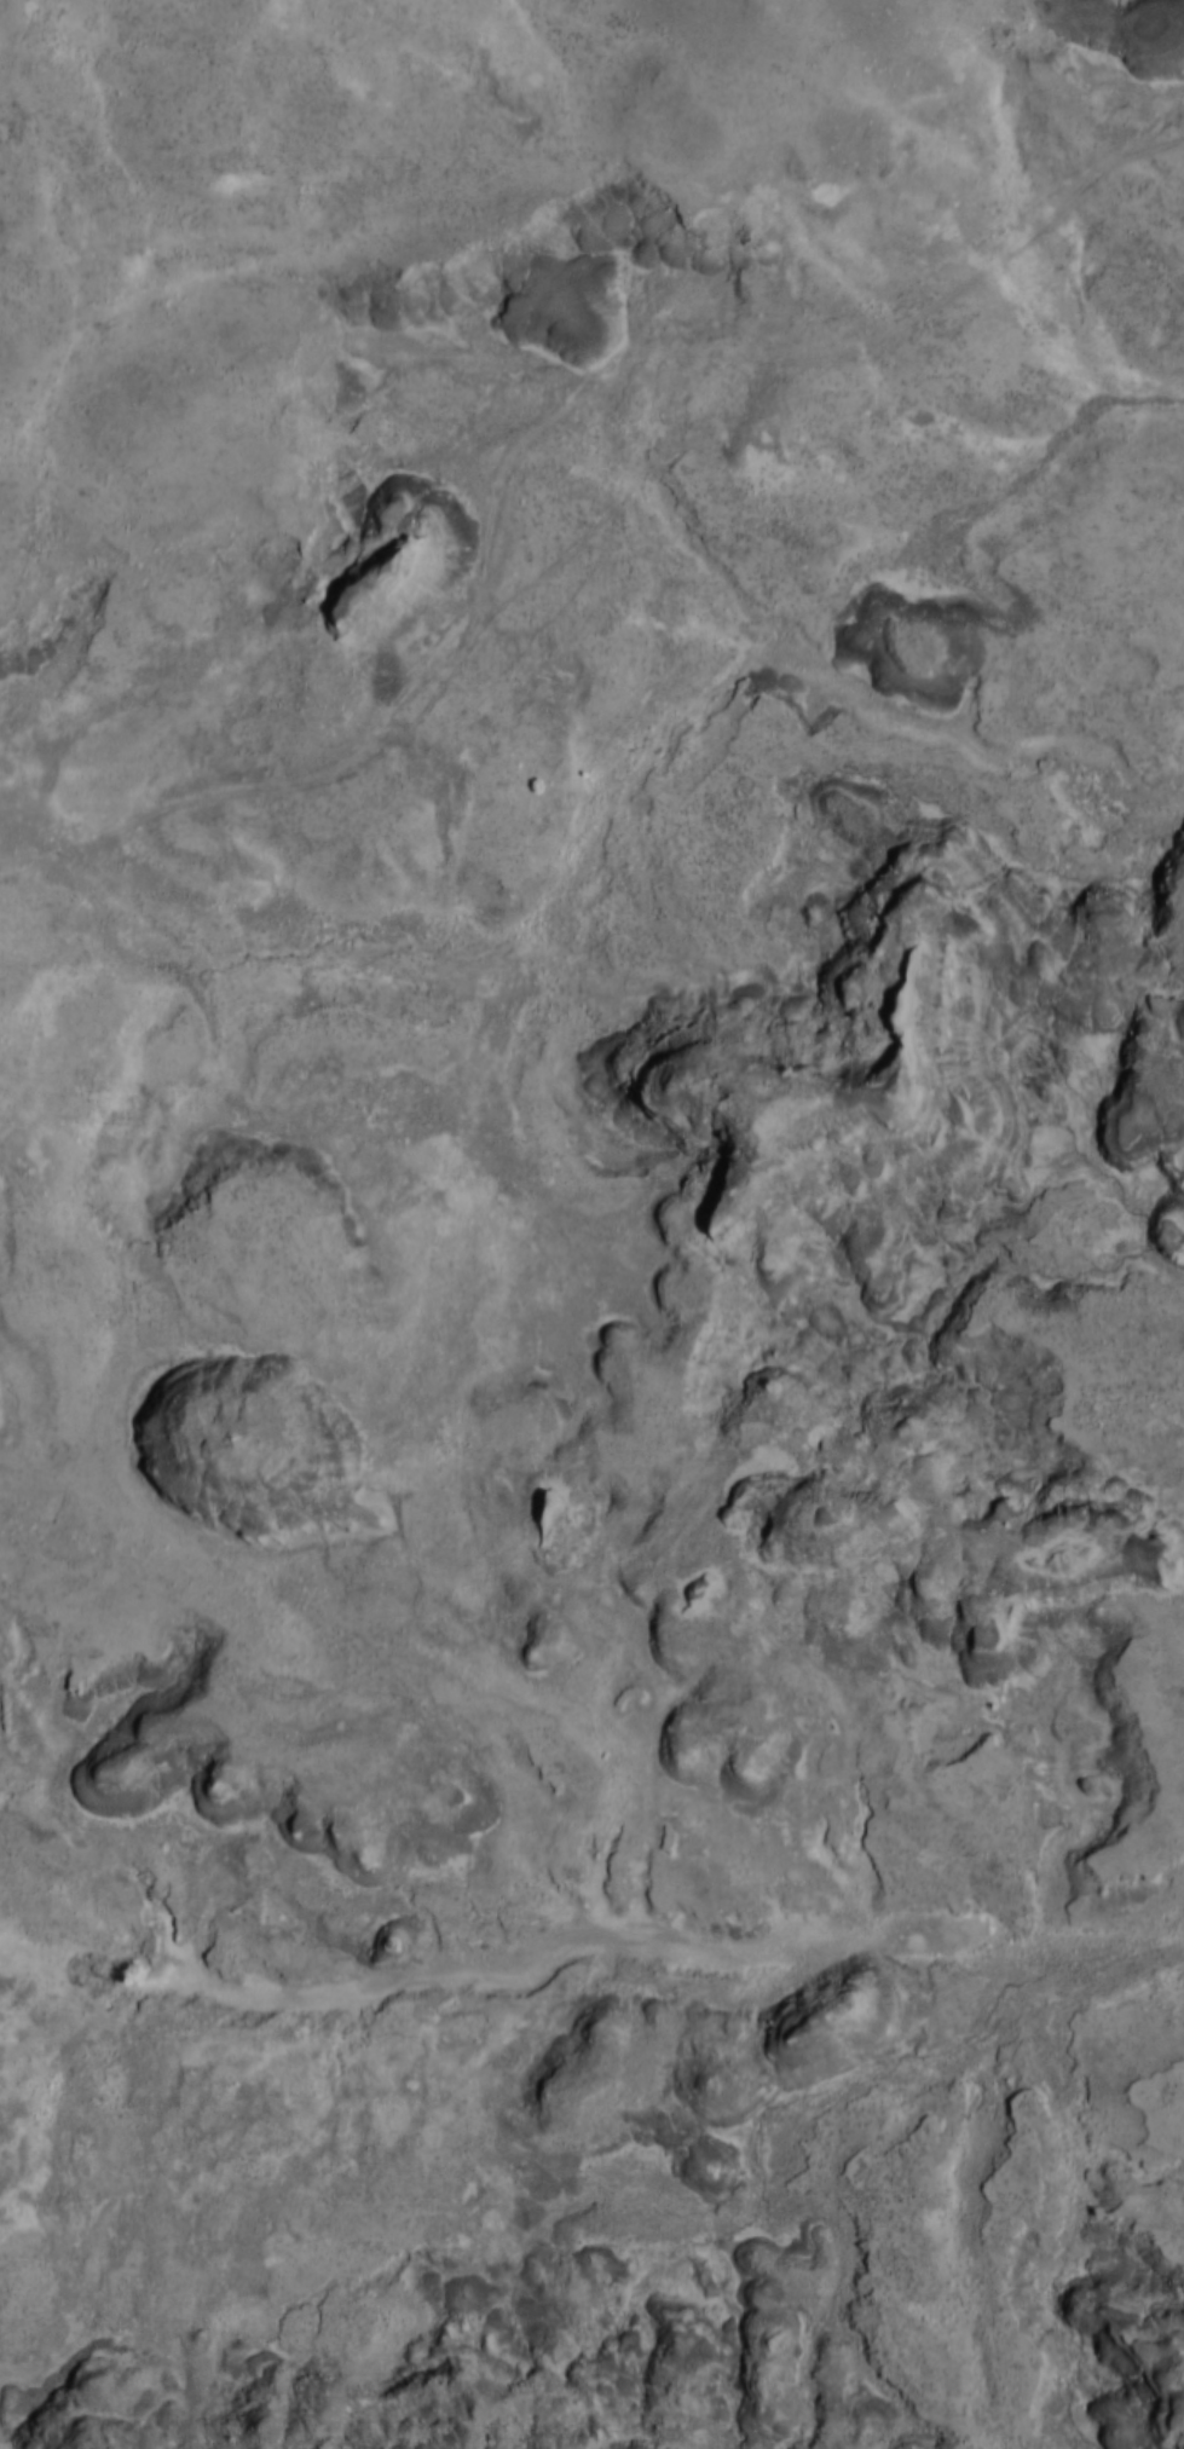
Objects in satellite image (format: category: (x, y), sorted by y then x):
road: (562, 497)

